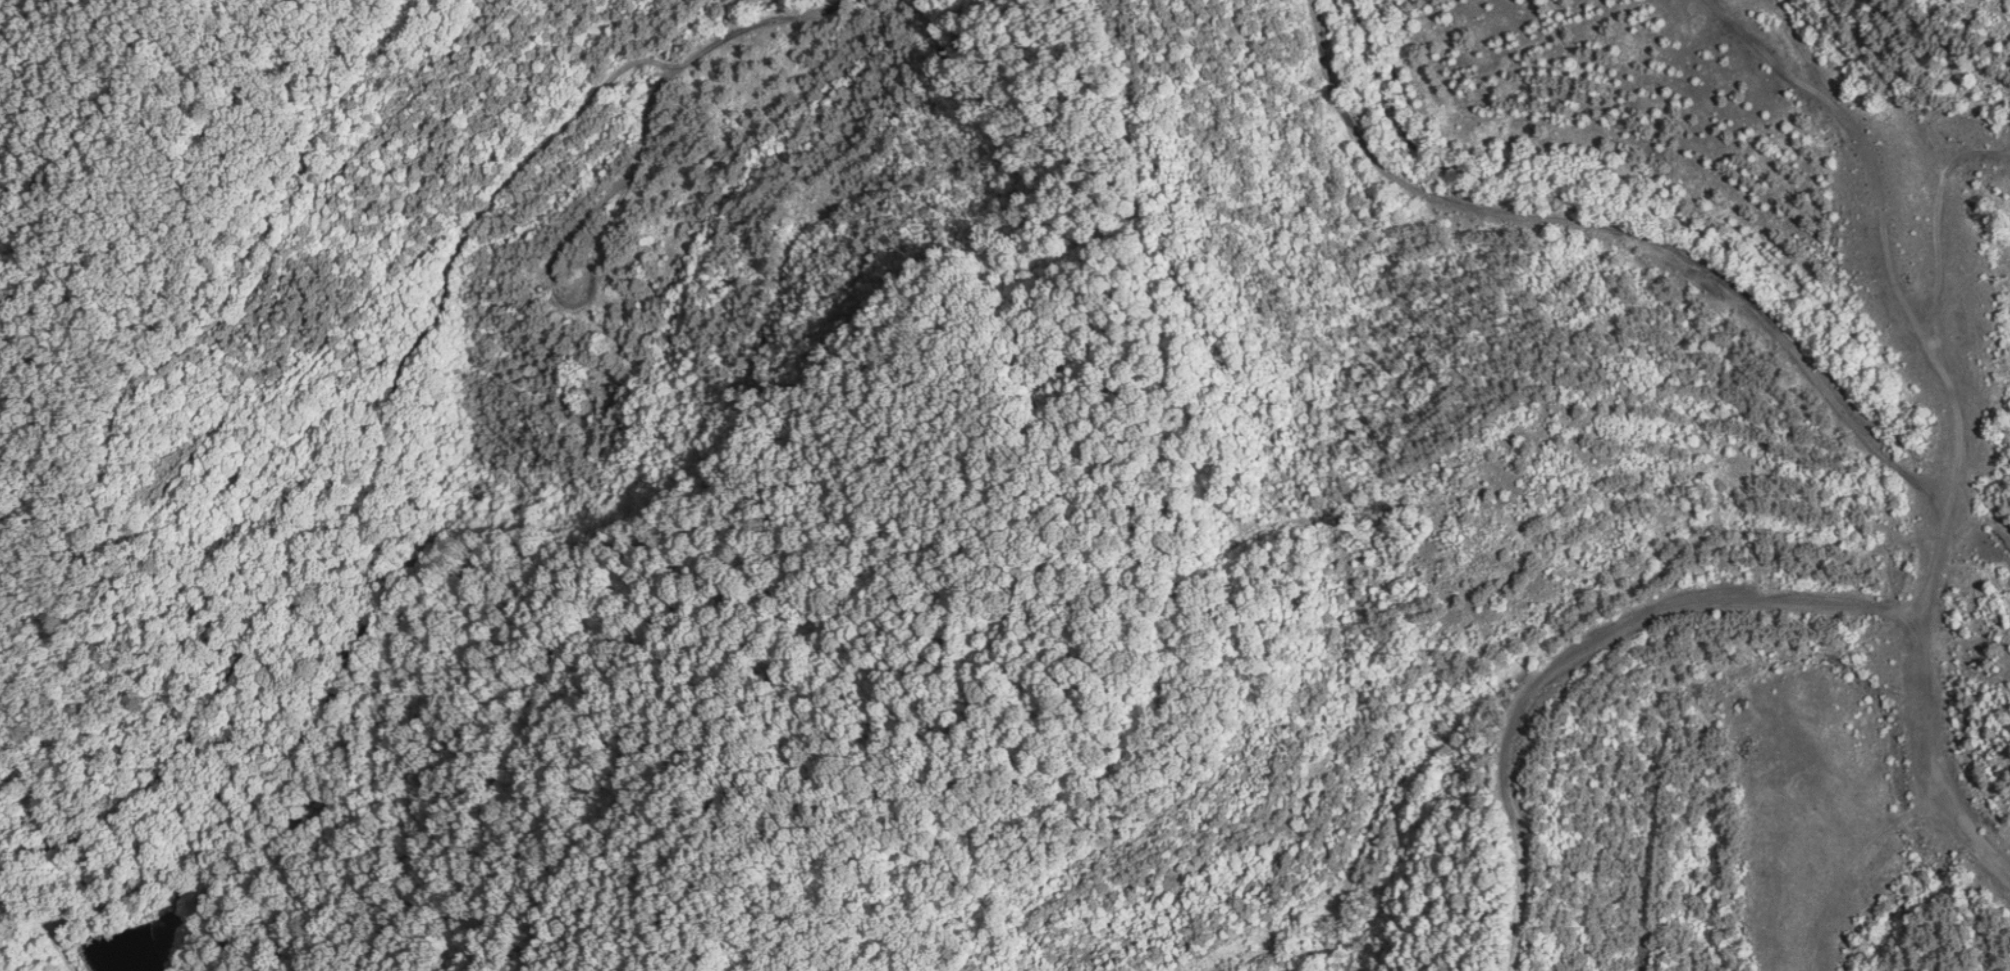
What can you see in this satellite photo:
quarry: (1005, 485)

